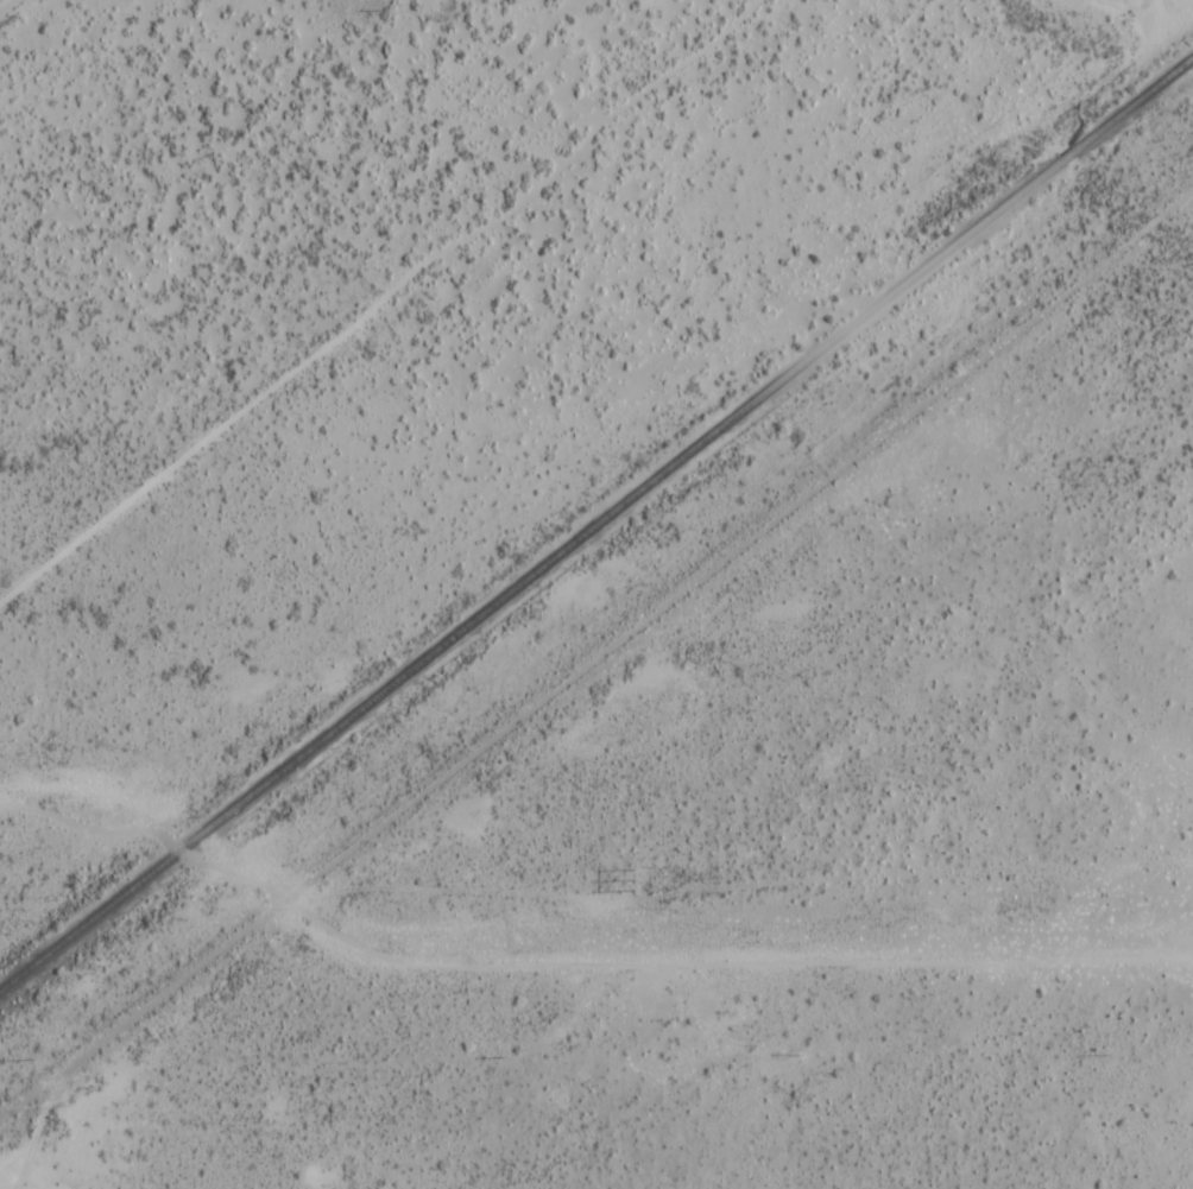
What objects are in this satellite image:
road: (2, 1)
railway: (595, 524)
road: (585, 684)
road: (762, 881)

